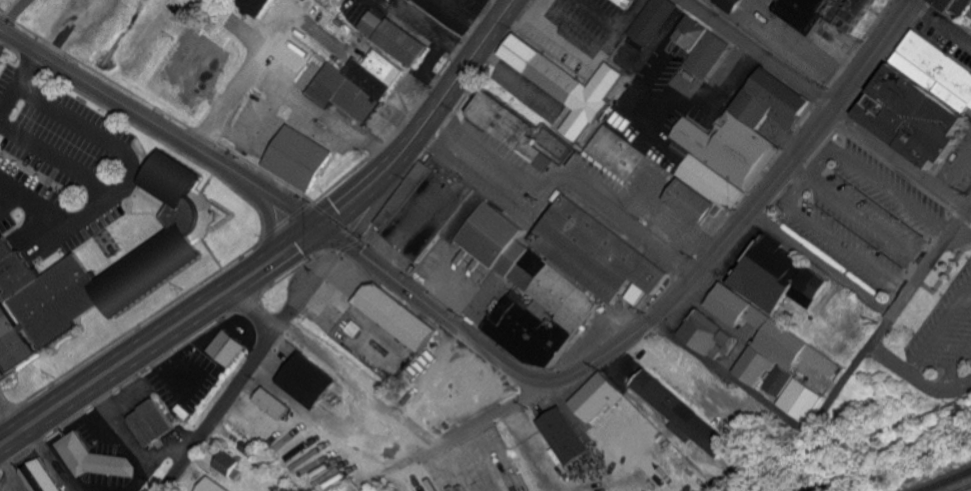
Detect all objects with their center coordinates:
building: (621, 1)
building: (729, 4)
building: (255, 5)
building: (955, 10)
road: (11, 13)
building: (820, 13)
building: (652, 20)
road: (940, 25)
building: (394, 36)
building: (701, 59)
road: (16, 76)
building: (564, 83)
building: (357, 84)
road: (280, 86)
road: (441, 97)
building: (919, 99)
road: (823, 106)
building: (510, 126)
building: (732, 147)
building: (680, 149)
building: (618, 152)
building: (297, 157)
road: (59, 162)
road: (130, 170)
road: (875, 178)
road: (568, 181)
road: (281, 198)
road: (969, 209)
road: (859, 216)
parking lot: (864, 216)
road: (747, 219)
road: (836, 240)
building: (170, 246)
building: (523, 257)
road: (824, 262)
road: (324, 270)
building: (780, 280)
road: (905, 297)
building: (394, 315)
road: (184, 319)
parking lot: (949, 329)
building: (708, 334)
road: (943, 335)
building: (768, 339)
building: (11, 341)
building: (226, 347)
road: (910, 368)
road: (681, 373)
road: (730, 377)
building: (307, 379)
road: (355, 381)
building: (780, 382)
road: (952, 387)
road: (230, 392)
road: (438, 392)
building: (597, 396)
building: (801, 399)
building: (272, 403)
road: (823, 411)
building: (680, 413)
road: (8, 418)
building: (150, 422)
building: (563, 435)
road: (764, 435)
road: (50, 457)
building: (92, 458)
road: (387, 460)
building: (225, 462)
building: (39, 476)
railway: (945, 480)
building: (212, 485)
railway: (962, 487)

